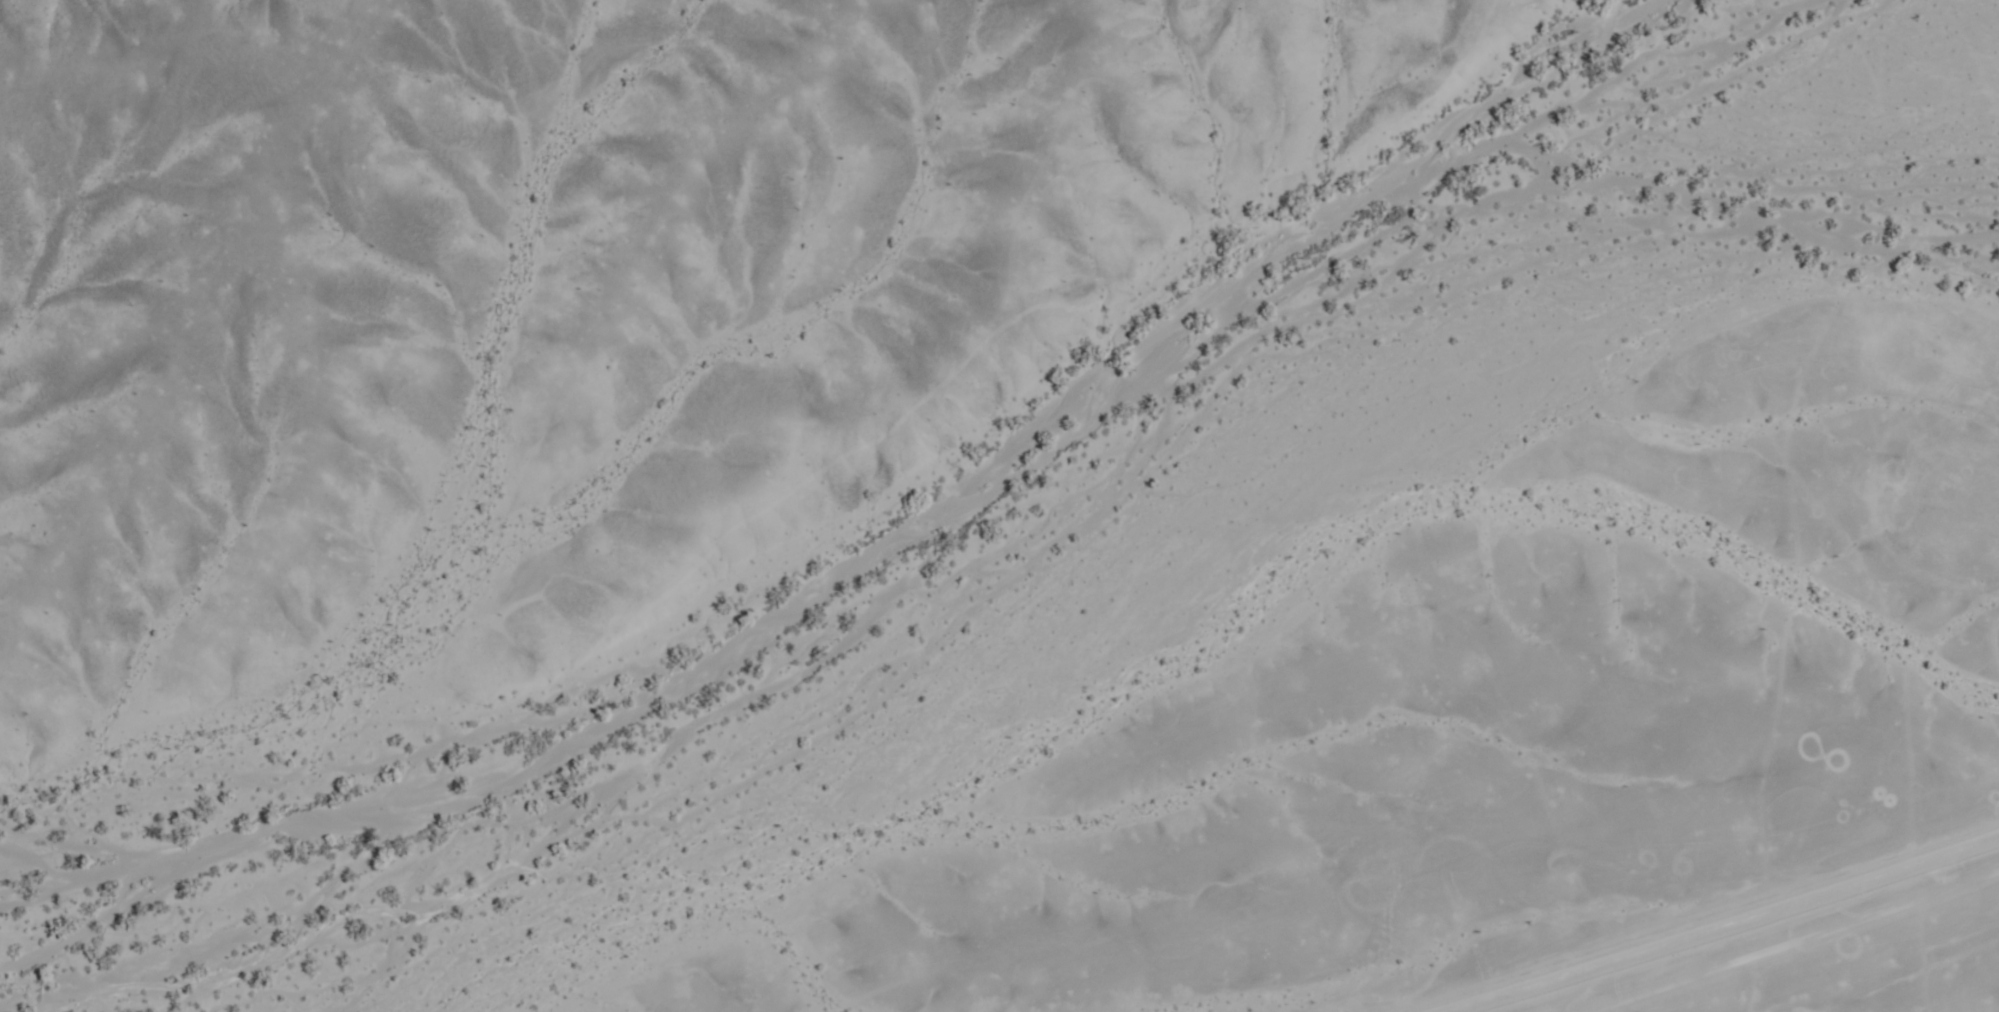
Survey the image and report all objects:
road: (1789, 939)

